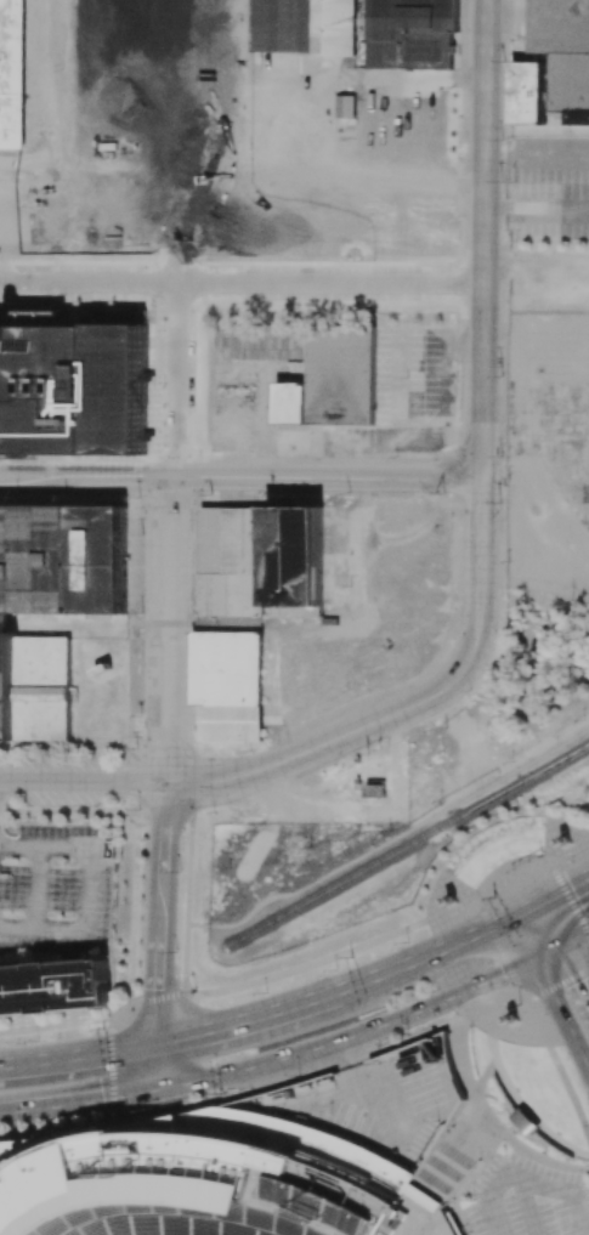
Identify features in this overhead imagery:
building: (302, 27)
building: (410, 33)
building: (563, 52)
road: (60, 67)
building: (13, 75)
road: (305, 83)
building: (526, 92)
building: (345, 106)
road: (62, 155)
road: (336, 180)
road: (120, 211)
road: (175, 267)
road: (482, 340)
building: (332, 380)
building: (73, 389)
road: (166, 404)
road: (240, 476)
street lamp: (16, 498)
building: (62, 559)
building: (260, 561)
road: (166, 629)
building: (226, 684)
building: (34, 687)
road: (317, 743)
road: (83, 781)
building: (374, 791)
road: (163, 827)
road: (45, 845)
railway: (407, 845)
traffic signals: (567, 882)
road: (38, 885)
road: (555, 888)
road: (571, 901)
road: (162, 902)
road: (540, 924)
road: (84, 928)
road: (527, 931)
road: (574, 934)
road: (465, 935)
road: (546, 950)
road: (499, 952)
road: (576, 967)
traffic signals: (502, 971)
road: (554, 976)
traffic signals: (583, 980)
road: (158, 985)
building: (52, 987)
traffic signals: (158, 987)
road: (287, 1004)
road: (491, 1005)
road: (561, 1012)
road: (533, 1019)
traffic signals: (203, 1029)
road: (351, 1032)
street lamp: (38, 1041)
road: (135, 1044)
road: (55, 1055)
road: (162, 1063)
road: (570, 1093)
road: (236, 1094)
traffic signals: (102, 1098)
road: (81, 1100)
street lamp: (18, 1126)
building: (213, 1182)
stadium: (213, 1182)
road: (523, 1184)
parking lot: (526, 1200)
road: (532, 1209)

